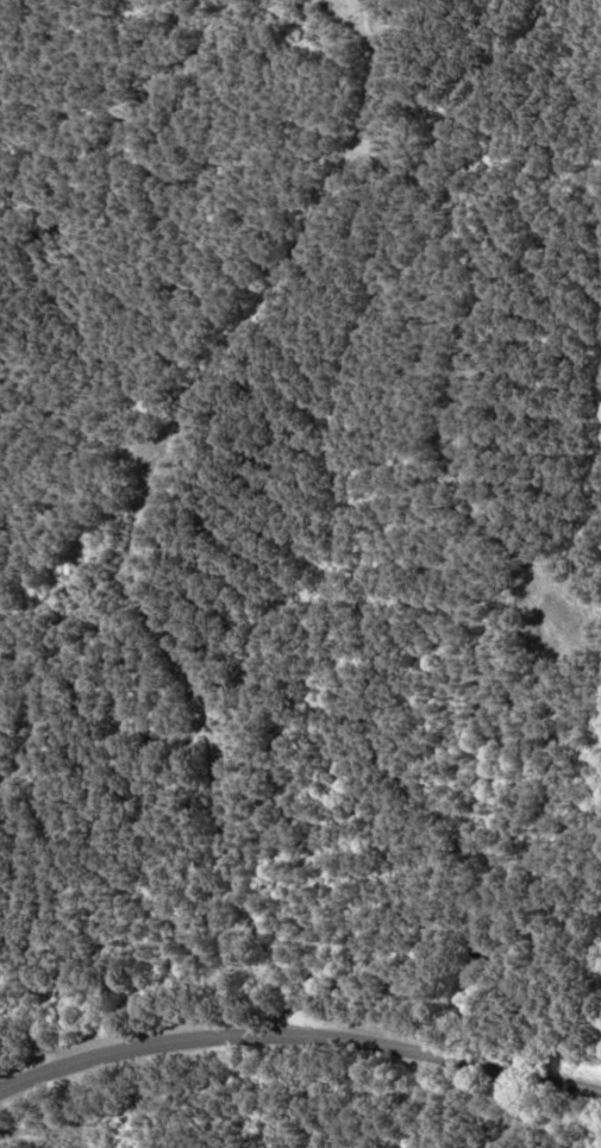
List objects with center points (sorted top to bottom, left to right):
road: (300, 1033)

